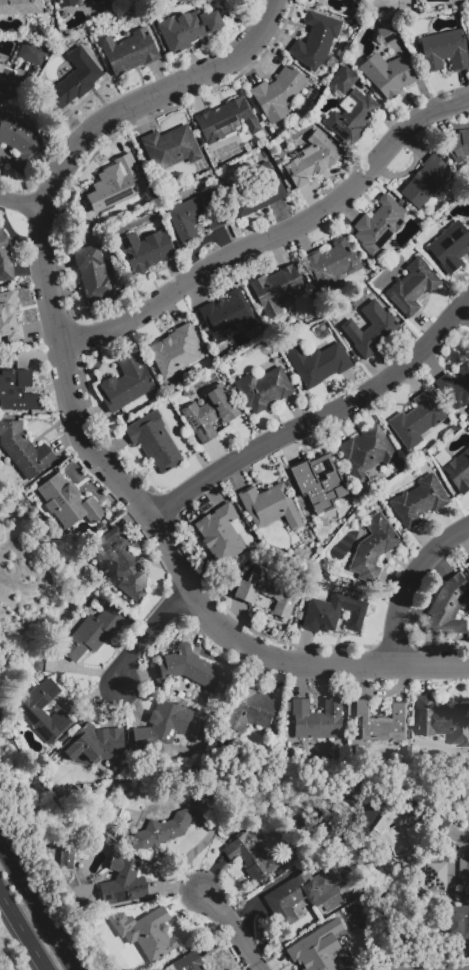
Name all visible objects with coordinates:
building: (95, 0)
building: (66, 3)
building: (20, 6)
building: (188, 29)
building: (315, 40)
building: (444, 50)
building: (129, 51)
building: (32, 53)
building: (387, 74)
building: (5, 78)
building: (75, 79)
building: (344, 80)
building: (278, 93)
building: (353, 116)
building: (225, 120)
building: (20, 140)
building: (458, 144)
building: (170, 147)
building: (313, 159)
building: (424, 181)
building: (116, 184)
building: (258, 192)
road: (19, 200)
building: (198, 215)
building: (378, 225)
road: (273, 237)
building: (450, 247)
building: (146, 249)
road: (44, 252)
building: (5, 258)
building: (330, 264)
building: (93, 273)
building: (412, 286)
building: (276, 289)
building: (227, 314)
building: (9, 317)
building: (372, 330)
building: (175, 350)
building: (318, 363)
building: (127, 384)
building: (455, 387)
building: (264, 389)
building: (16, 391)
building: (209, 415)
road: (316, 416)
building: (417, 420)
building: (154, 441)
building: (23, 449)
building: (367, 452)
building: (458, 471)
building: (318, 484)
building: (420, 500)
building: (68, 502)
building: (269, 506)
building: (221, 537)
building: (373, 548)
building: (468, 561)
building: (125, 564)
road: (407, 581)
building: (266, 586)
building: (449, 607)
building: (333, 613)
building: (93, 633)
road: (148, 633)
road: (314, 663)
building: (187, 668)
building: (44, 711)
building: (249, 712)
building: (317, 719)
building: (442, 720)
building: (381, 722)
building: (162, 727)
building: (93, 744)
building: (383, 816)
building: (438, 821)
building: (170, 828)
building: (335, 830)
road: (465, 842)
building: (249, 856)
building: (65, 857)
building: (435, 874)
building: (122, 880)
building: (310, 892)
road: (36, 904)
building: (459, 921)
road: (23, 927)
road: (226, 929)
building: (146, 932)
building: (318, 949)
building: (186, 962)
building: (204, 969)

